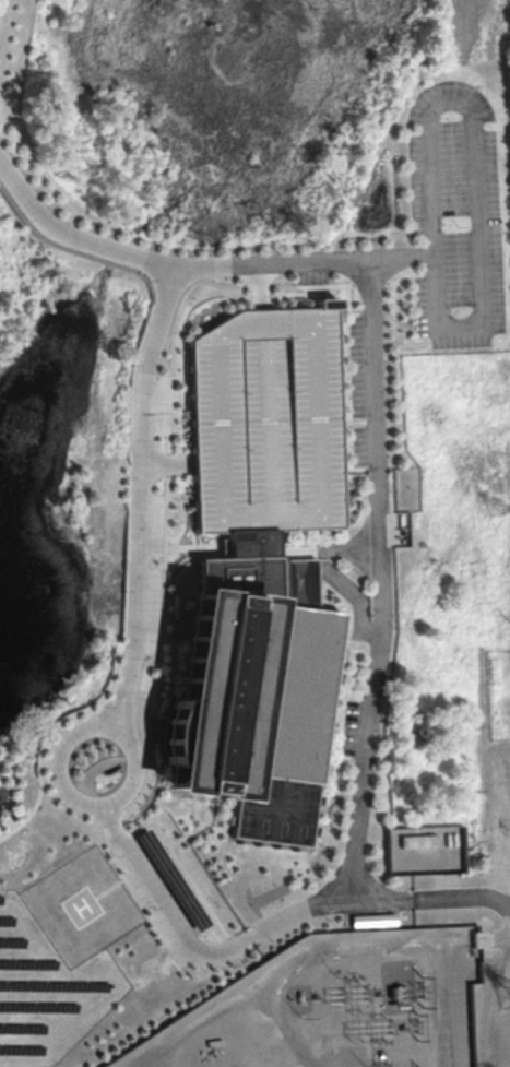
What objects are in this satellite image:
road: (477, 173)
parking lot: (456, 212)
road: (98, 244)
road: (333, 257)
road: (393, 280)
road: (259, 282)
road: (322, 282)
road: (261, 284)
road: (169, 334)
building: (265, 422)
parking garage: (265, 422)
road: (166, 461)
road: (166, 461)
road: (141, 494)
power tower: (494, 515)
road: (381, 577)
road: (133, 652)
road: (146, 654)
building: (253, 710)
road: (156, 727)
road: (47, 736)
road: (144, 737)
road: (60, 747)
road: (195, 829)
building: (420, 851)
road: (141, 865)
road: (108, 888)
road: (429, 897)
parking lot: (166, 899)
road: (329, 901)
helipad: (83, 905)
road: (185, 927)
road: (235, 945)
road: (315, 956)
road: (247, 961)
power substation: (332, 1007)
road: (446, 1011)
road: (284, 1029)
road: (238, 1035)

